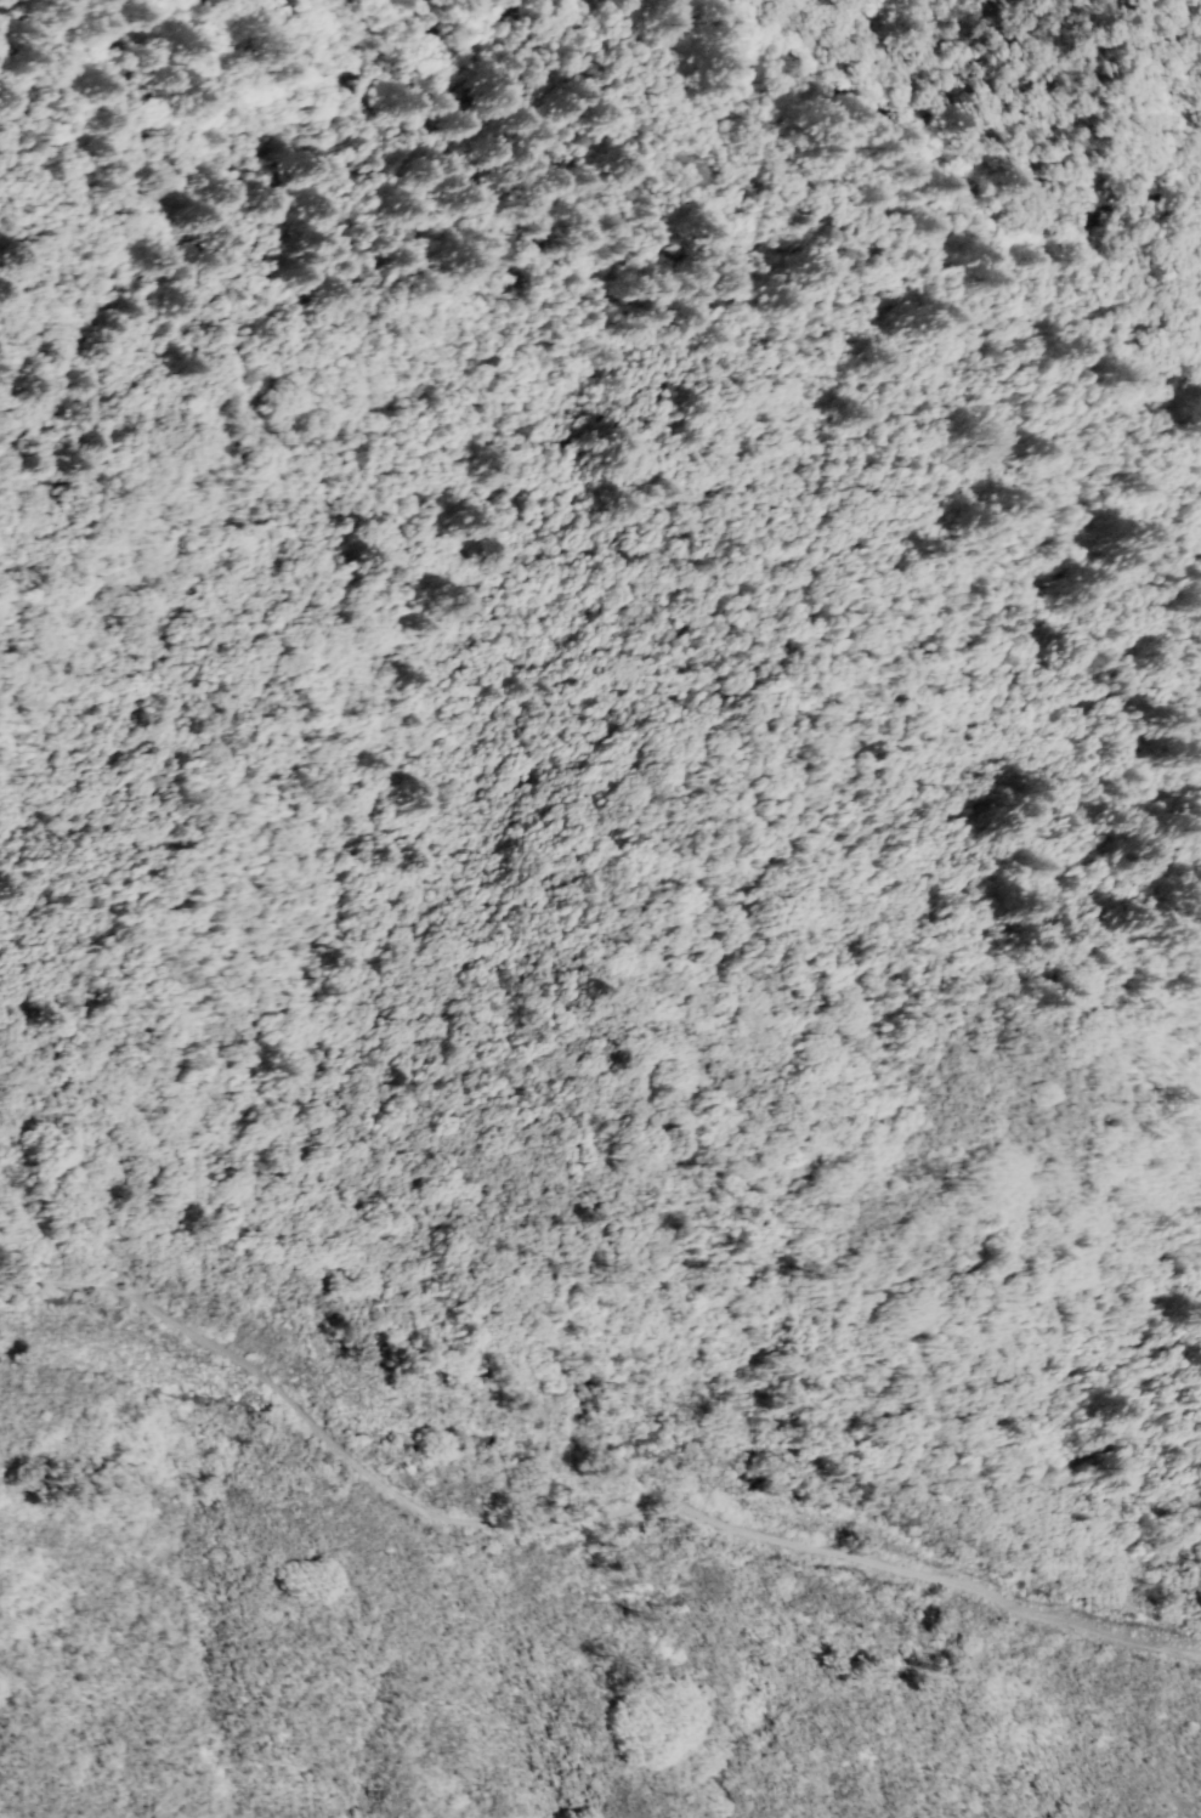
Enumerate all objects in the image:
road: (577, 1518)

